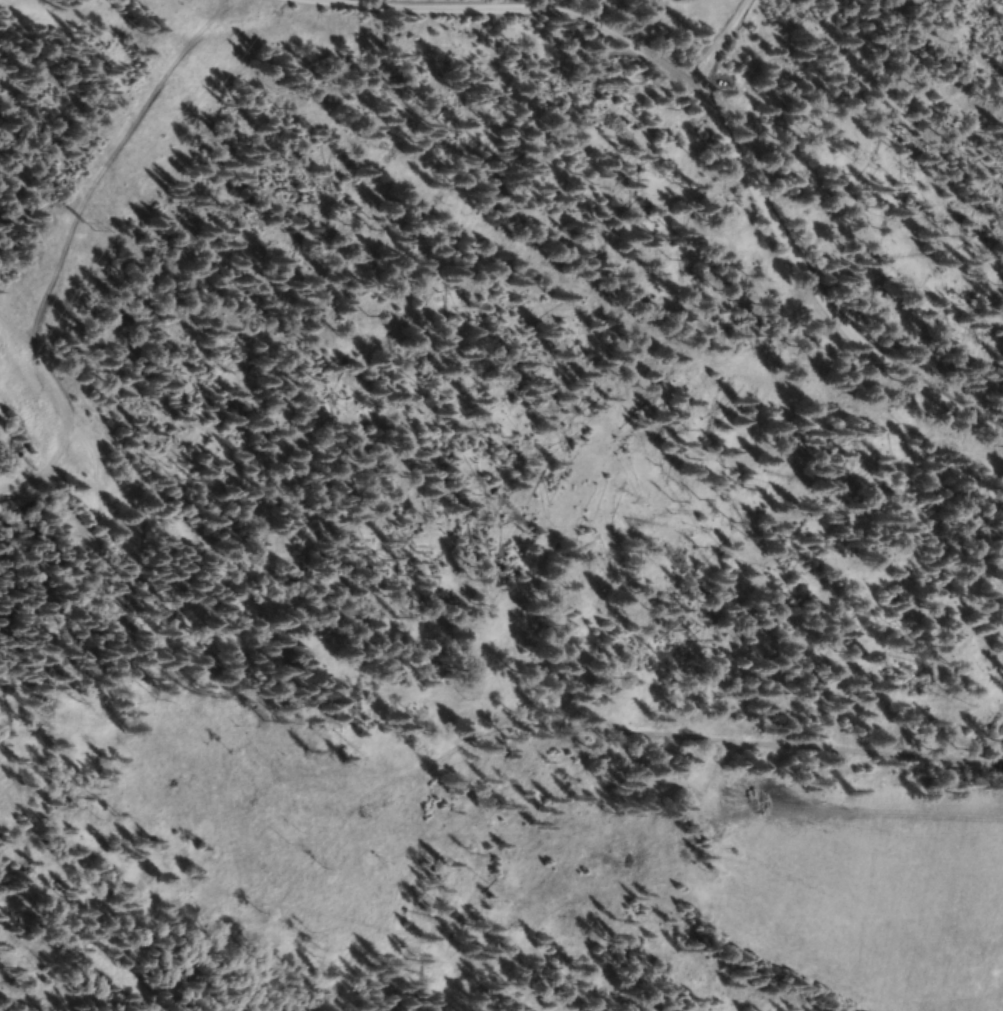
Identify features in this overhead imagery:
road: (723, 129)
power tower: (85, 225)

